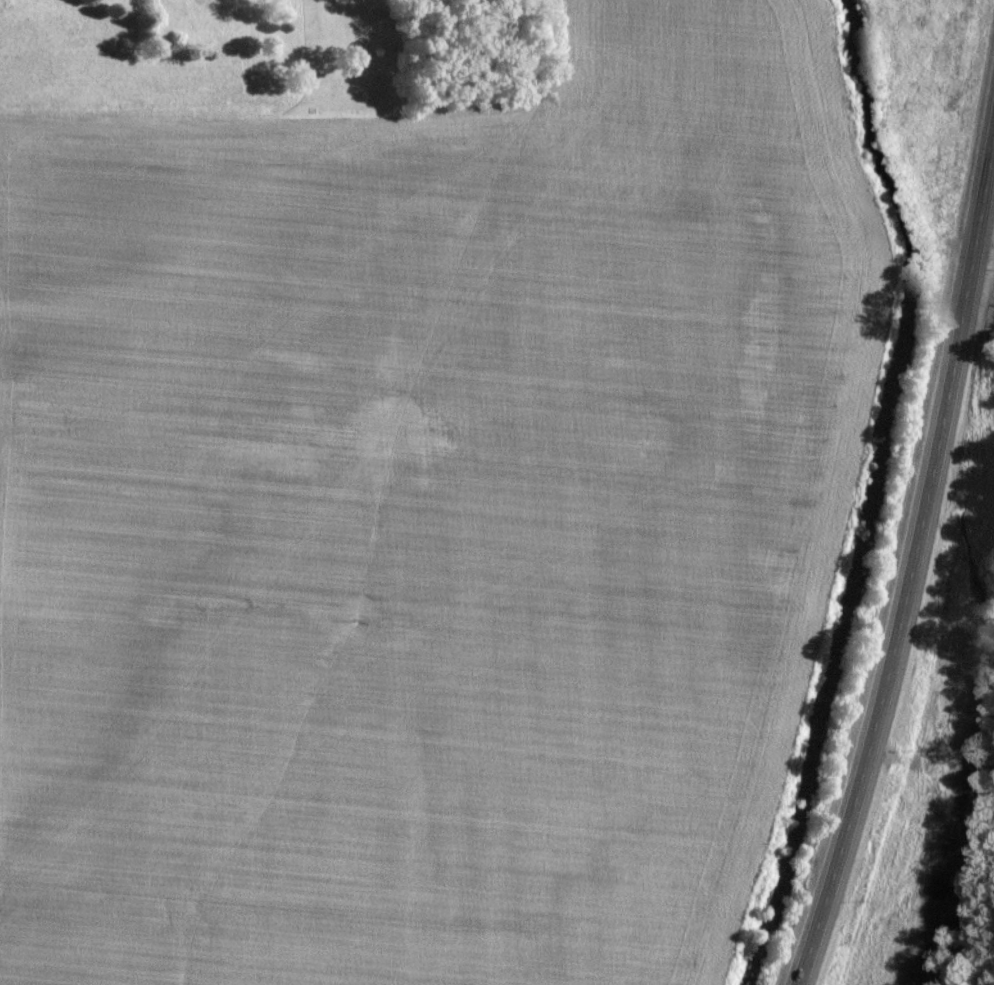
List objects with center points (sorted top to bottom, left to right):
road: (911, 564)

